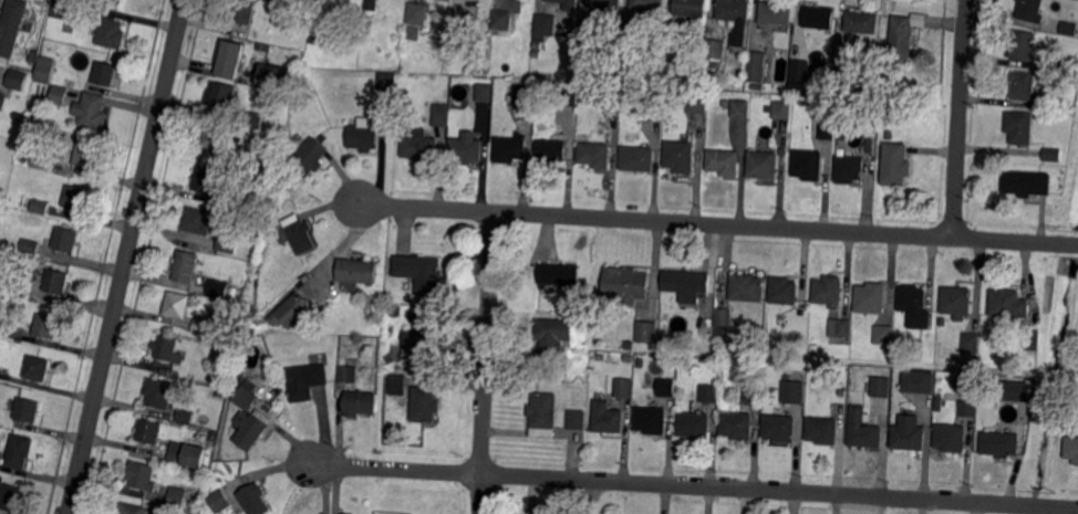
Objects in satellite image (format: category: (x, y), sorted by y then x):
building: (324, 3)
building: (370, 4)
building: (567, 4)
building: (649, 4)
building: (604, 6)
building: (692, 8)
building: (61, 9)
building: (729, 10)
building: (1032, 10)
building: (243, 11)
building: (777, 12)
building: (416, 13)
building: (819, 17)
building: (501, 21)
building: (862, 21)
building: (11, 27)
building: (1069, 27)
building: (462, 29)
building: (542, 29)
building: (630, 30)
building: (112, 33)
building: (414, 34)
building: (588, 38)
building: (664, 38)
building: (902, 38)
building: (312, 40)
building: (1024, 45)
building: (262, 48)
building: (714, 49)
building: (231, 53)
building: (1070, 65)
building: (756, 66)
building: (44, 69)
building: (796, 69)
building: (105, 73)
building: (273, 77)
building: (17, 78)
building: (386, 81)
building: (370, 84)
building: (1026, 88)
building: (485, 92)
building: (504, 93)
building: (527, 94)
building: (60, 95)
building: (568, 95)
building: (21, 96)
building: (302, 96)
building: (612, 98)
building: (682, 99)
building: (222, 101)
building: (655, 101)
building: (3, 102)
building: (697, 104)
building: (740, 108)
building: (768, 109)
building: (782, 109)
building: (91, 111)
building: (871, 112)
building: (517, 115)
building: (440, 116)
road: (960, 118)
building: (255, 119)
building: (1020, 126)
building: (822, 129)
building: (216, 136)
building: (363, 136)
building: (278, 140)
building: (417, 146)
building: (869, 146)
building: (466, 149)
building: (509, 149)
building: (552, 149)
building: (595, 154)
building: (1053, 154)
building: (86, 155)
building: (681, 156)
building: (308, 158)
building: (638, 158)
building: (41, 159)
building: (724, 161)
building: (261, 164)
building: (764, 164)
building: (809, 164)
building: (896, 164)
building: (850, 168)
building: (206, 179)
building: (1027, 182)
building: (76, 198)
building: (276, 206)
building: (41, 207)
building: (197, 221)
road: (718, 224)
building: (299, 234)
building: (66, 239)
building: (228, 242)
building: (3, 245)
building: (31, 245)
road: (127, 256)
building: (186, 265)
building: (357, 270)
building: (422, 272)
building: (559, 274)
building: (56, 281)
building: (686, 281)
building: (628, 284)
building: (22, 286)
building: (218, 287)
building: (272, 287)
building: (748, 287)
building: (829, 290)
building: (784, 291)
building: (234, 292)
building: (871, 297)
building: (957, 301)
building: (177, 304)
building: (1009, 304)
building: (915, 305)
building: (396, 311)
building: (287, 312)
building: (723, 318)
building: (944, 321)
building: (1, 326)
building: (48, 327)
building: (208, 327)
building: (841, 327)
building: (553, 333)
building: (645, 333)
building: (885, 334)
building: (423, 335)
building: (1033, 339)
building: (972, 343)
building: (628, 345)
building: (165, 348)
building: (390, 359)
road: (487, 363)
building: (640, 363)
building: (687, 363)
building: (37, 367)
building: (348, 375)
building: (305, 381)
building: (919, 381)
building: (397, 385)
building: (879, 385)
building: (667, 387)
building: (625, 388)
building: (1015, 390)
building: (754, 391)
building: (159, 392)
building: (711, 392)
building: (792, 392)
building: (246, 399)
building: (357, 403)
building: (940, 403)
building: (425, 405)
building: (884, 405)
building: (968, 408)
building: (28, 409)
building: (542, 415)
building: (186, 416)
building: (608, 417)
building: (578, 419)
building: (652, 419)
building: (694, 424)
building: (738, 424)
building: (781, 427)
building: (823, 429)
building: (864, 429)
building: (248, 430)
building: (147, 432)
building: (910, 433)
building: (213, 437)
building: (952, 437)
building: (1001, 443)
building: (1071, 449)
building: (20, 451)
building: (187, 455)
building: (142, 475)
road: (694, 485)
building: (10, 495)
building: (176, 497)
building: (255, 500)
building: (218, 502)
building: (132, 510)
building: (342, 513)

